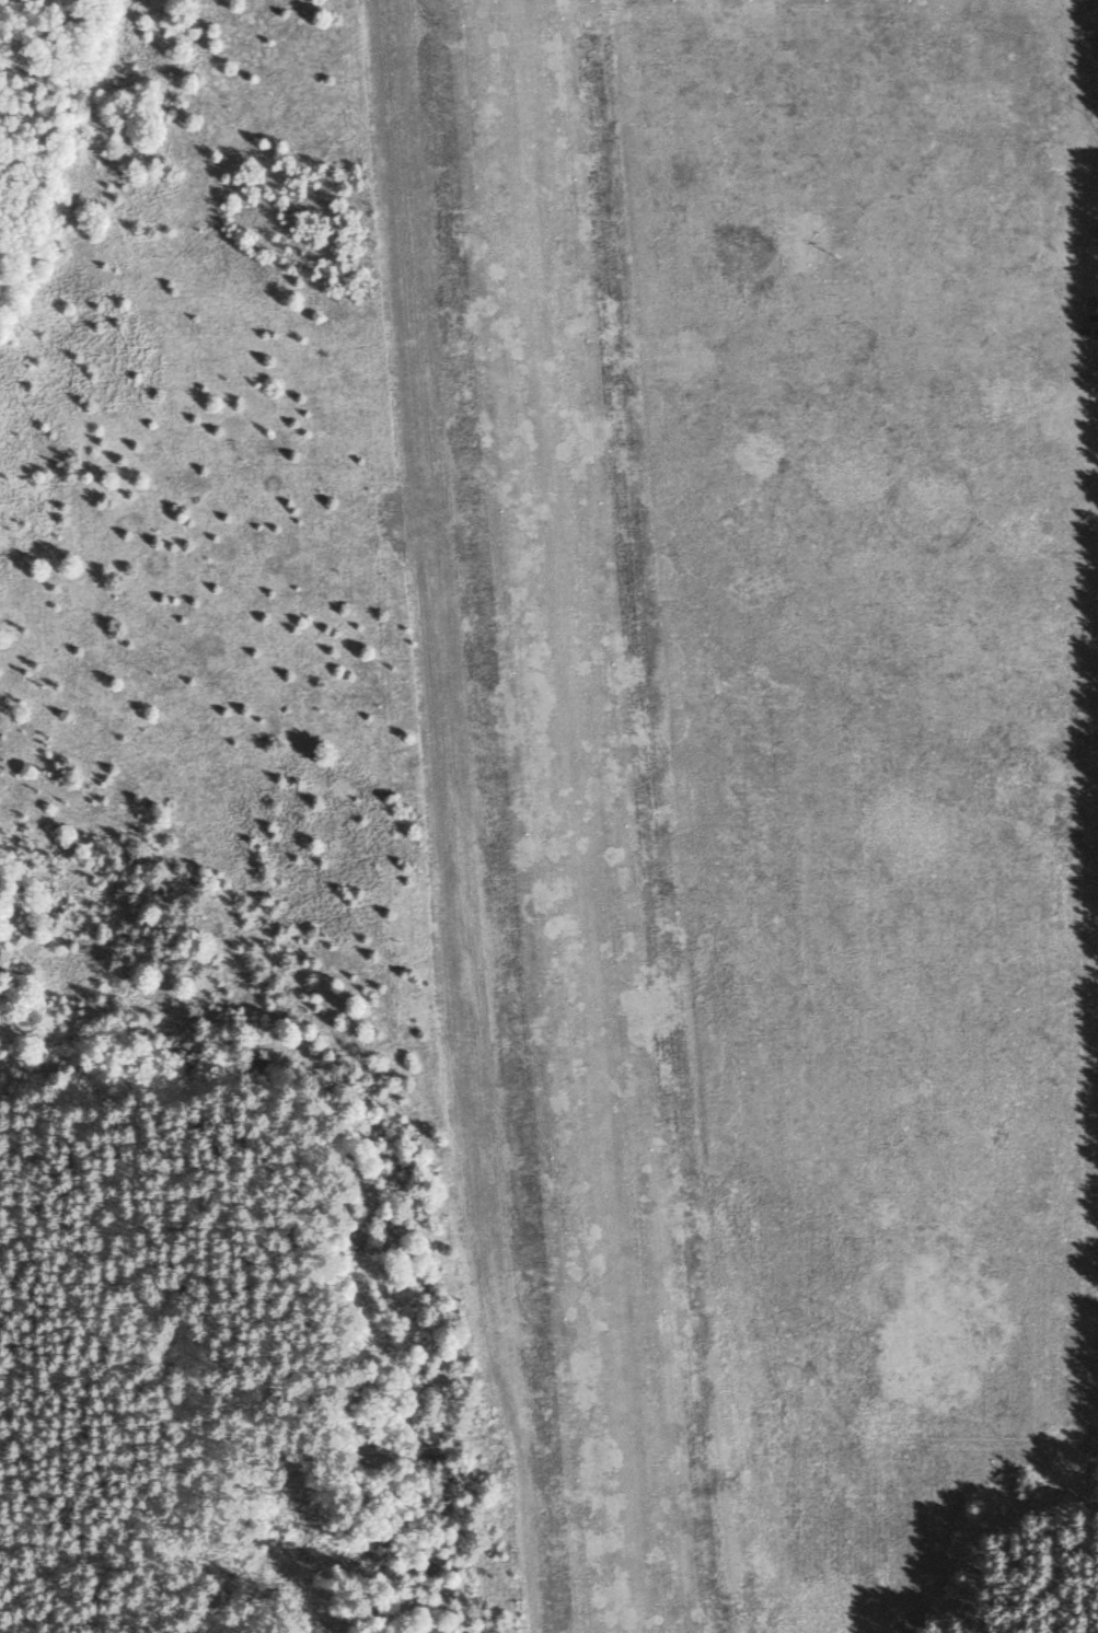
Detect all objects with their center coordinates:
building: (1089, 37)
airport runway: (577, 816)

